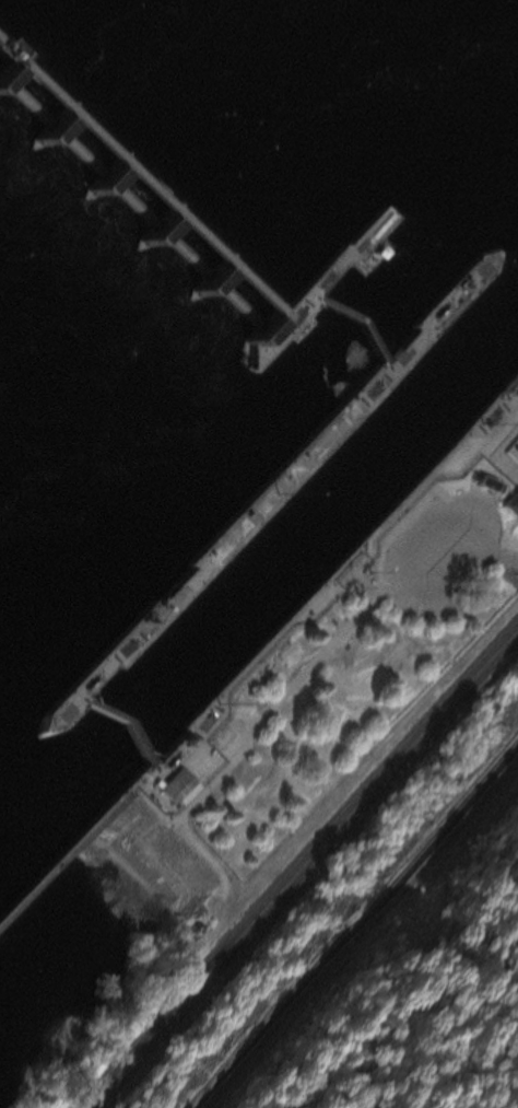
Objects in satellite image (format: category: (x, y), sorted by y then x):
building: (1, 71)
river: (497, 320)
building: (476, 482)
building: (505, 501)
river: (297, 536)
parking lot: (427, 545)
road: (501, 557)
river: (59, 775)
building: (167, 788)
railway: (299, 864)
railway: (309, 872)
road: (363, 931)

